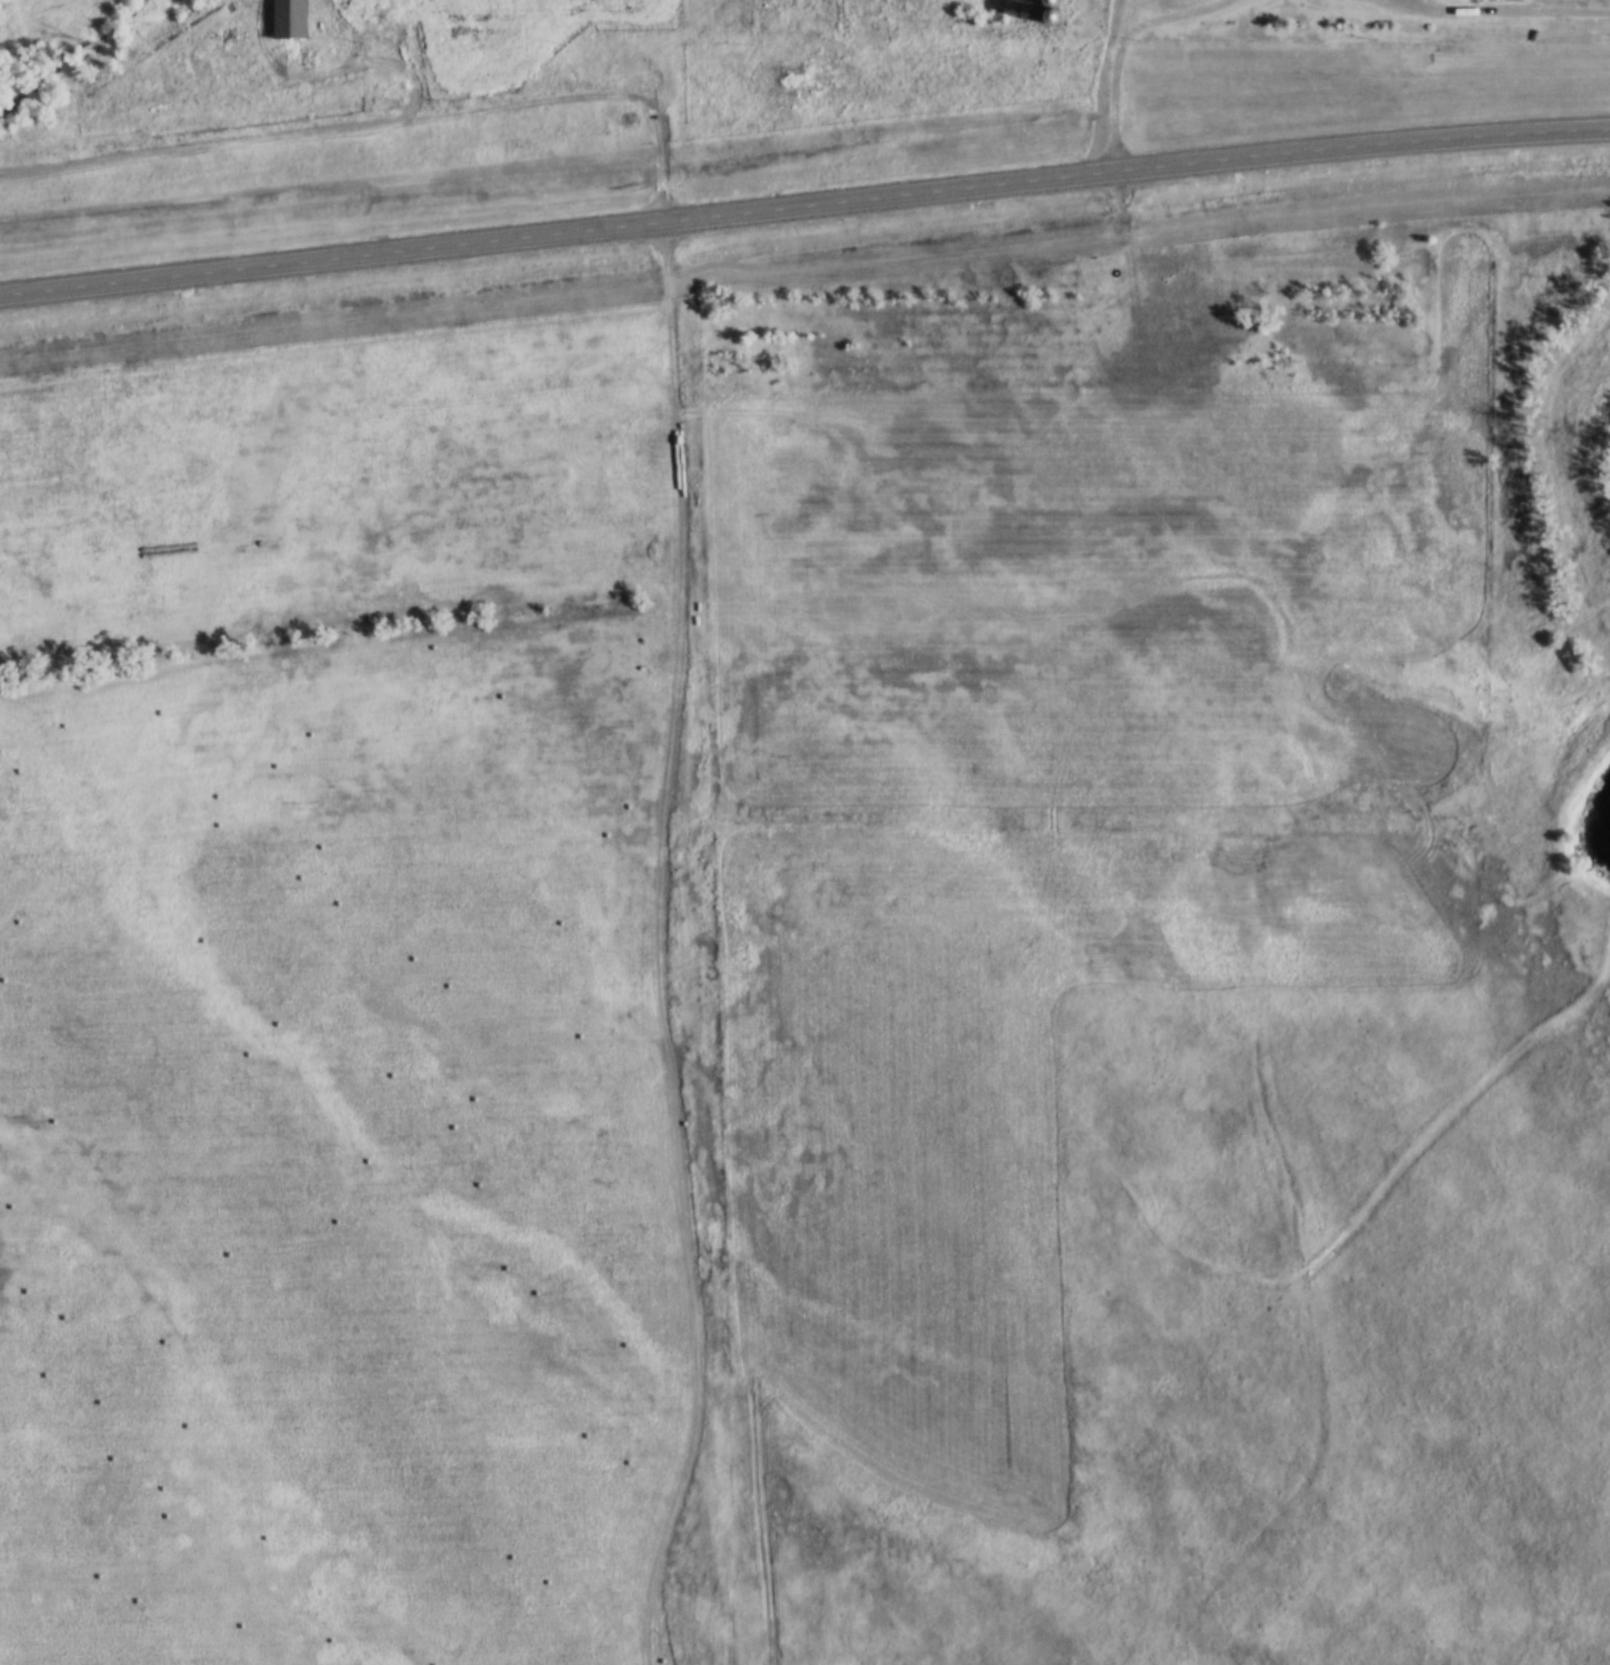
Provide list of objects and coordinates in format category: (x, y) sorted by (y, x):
building: (1046, 12)
building: (288, 18)
building: (371, 21)
road: (804, 210)

